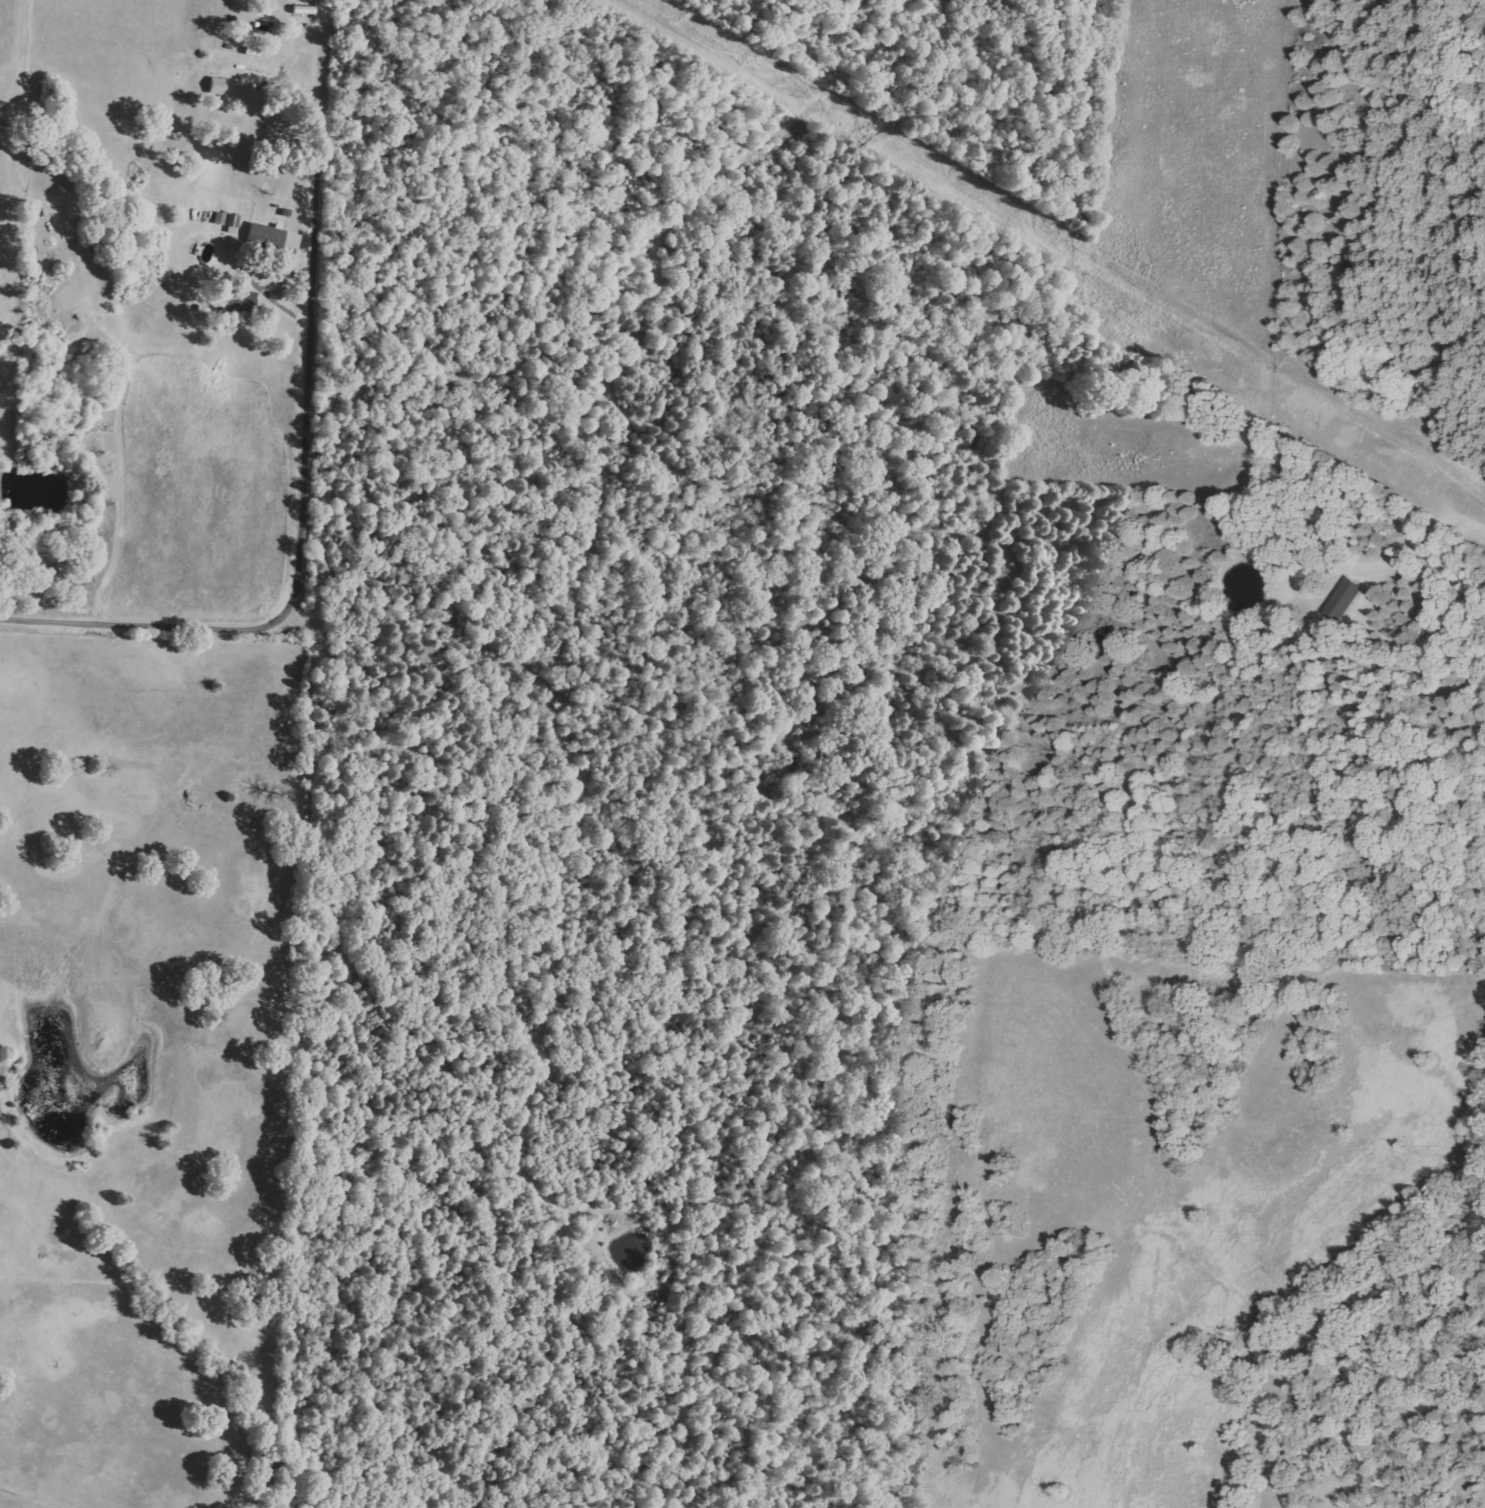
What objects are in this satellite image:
building: (225, 86)
building: (270, 236)
building: (235, 299)
road: (283, 516)

